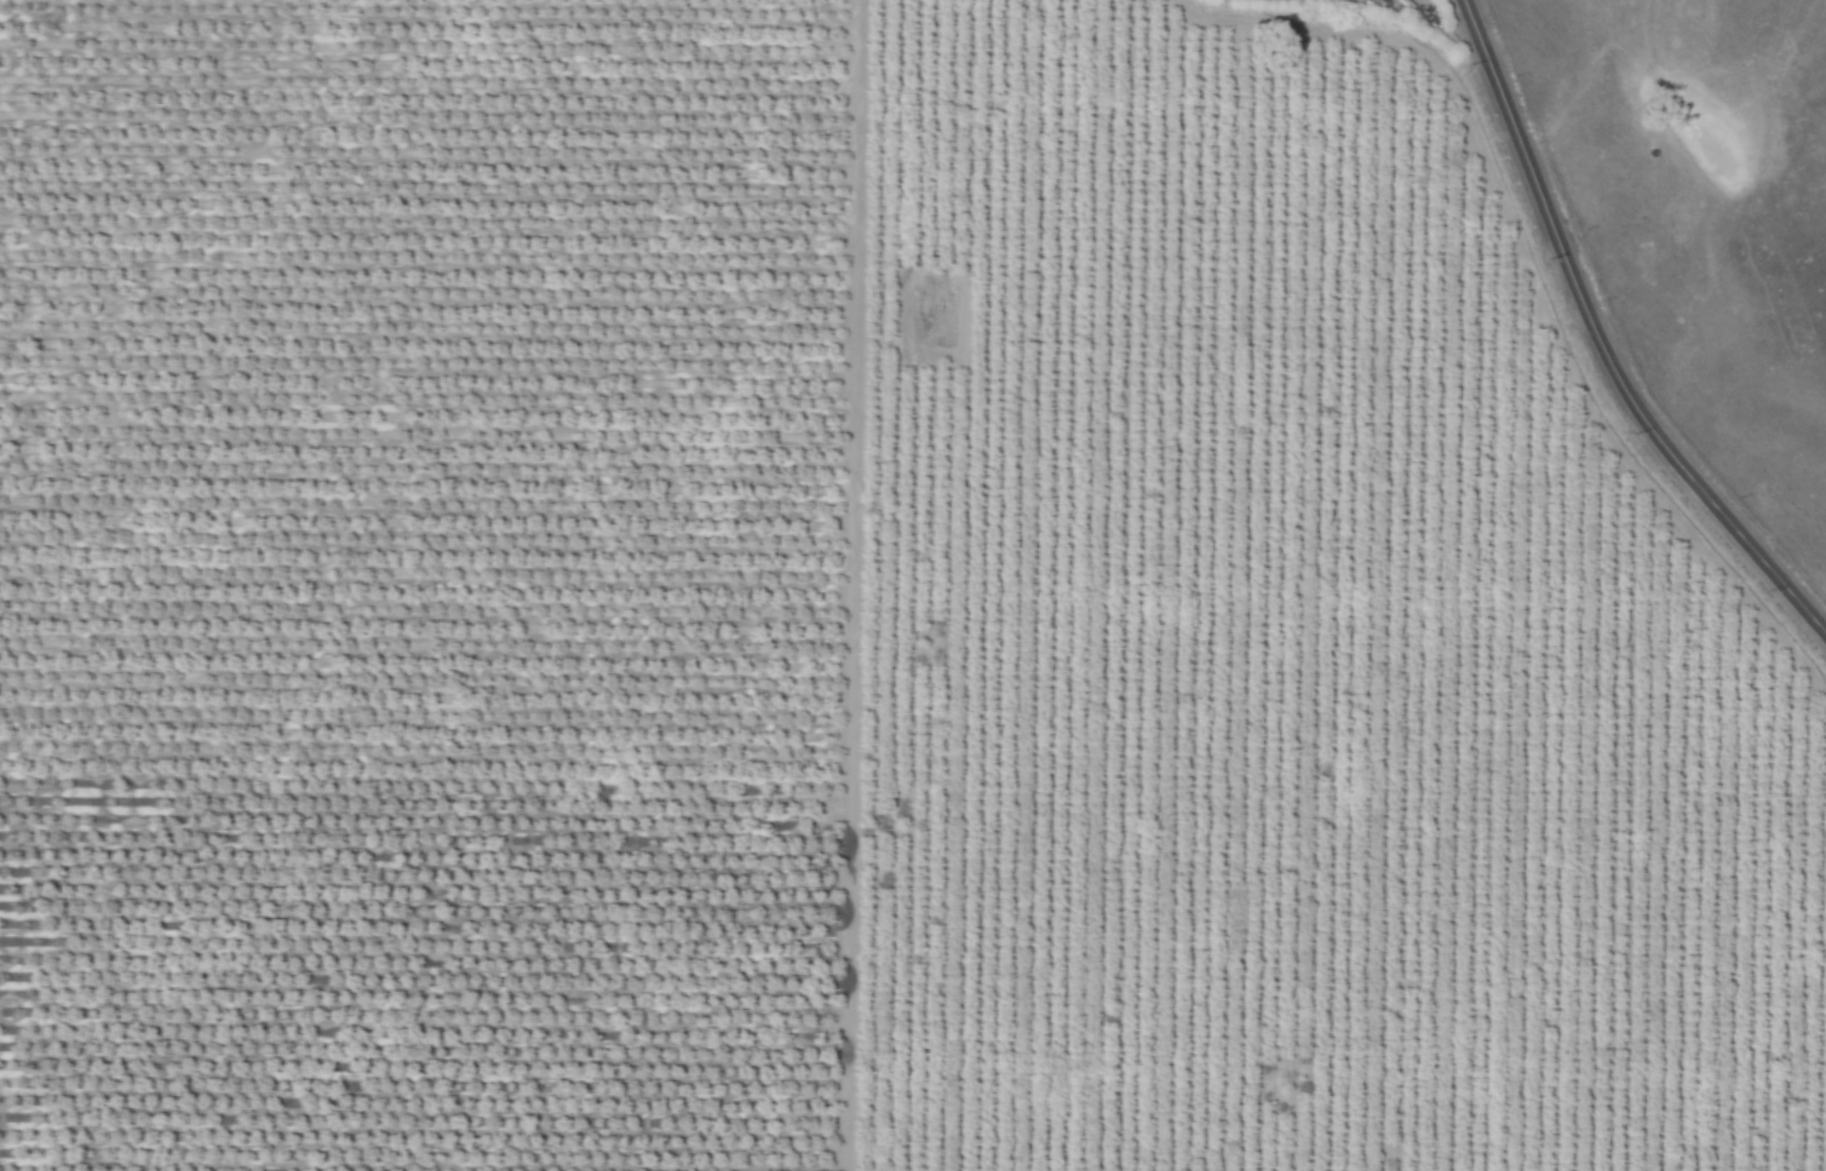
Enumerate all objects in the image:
road: (1592, 345)

